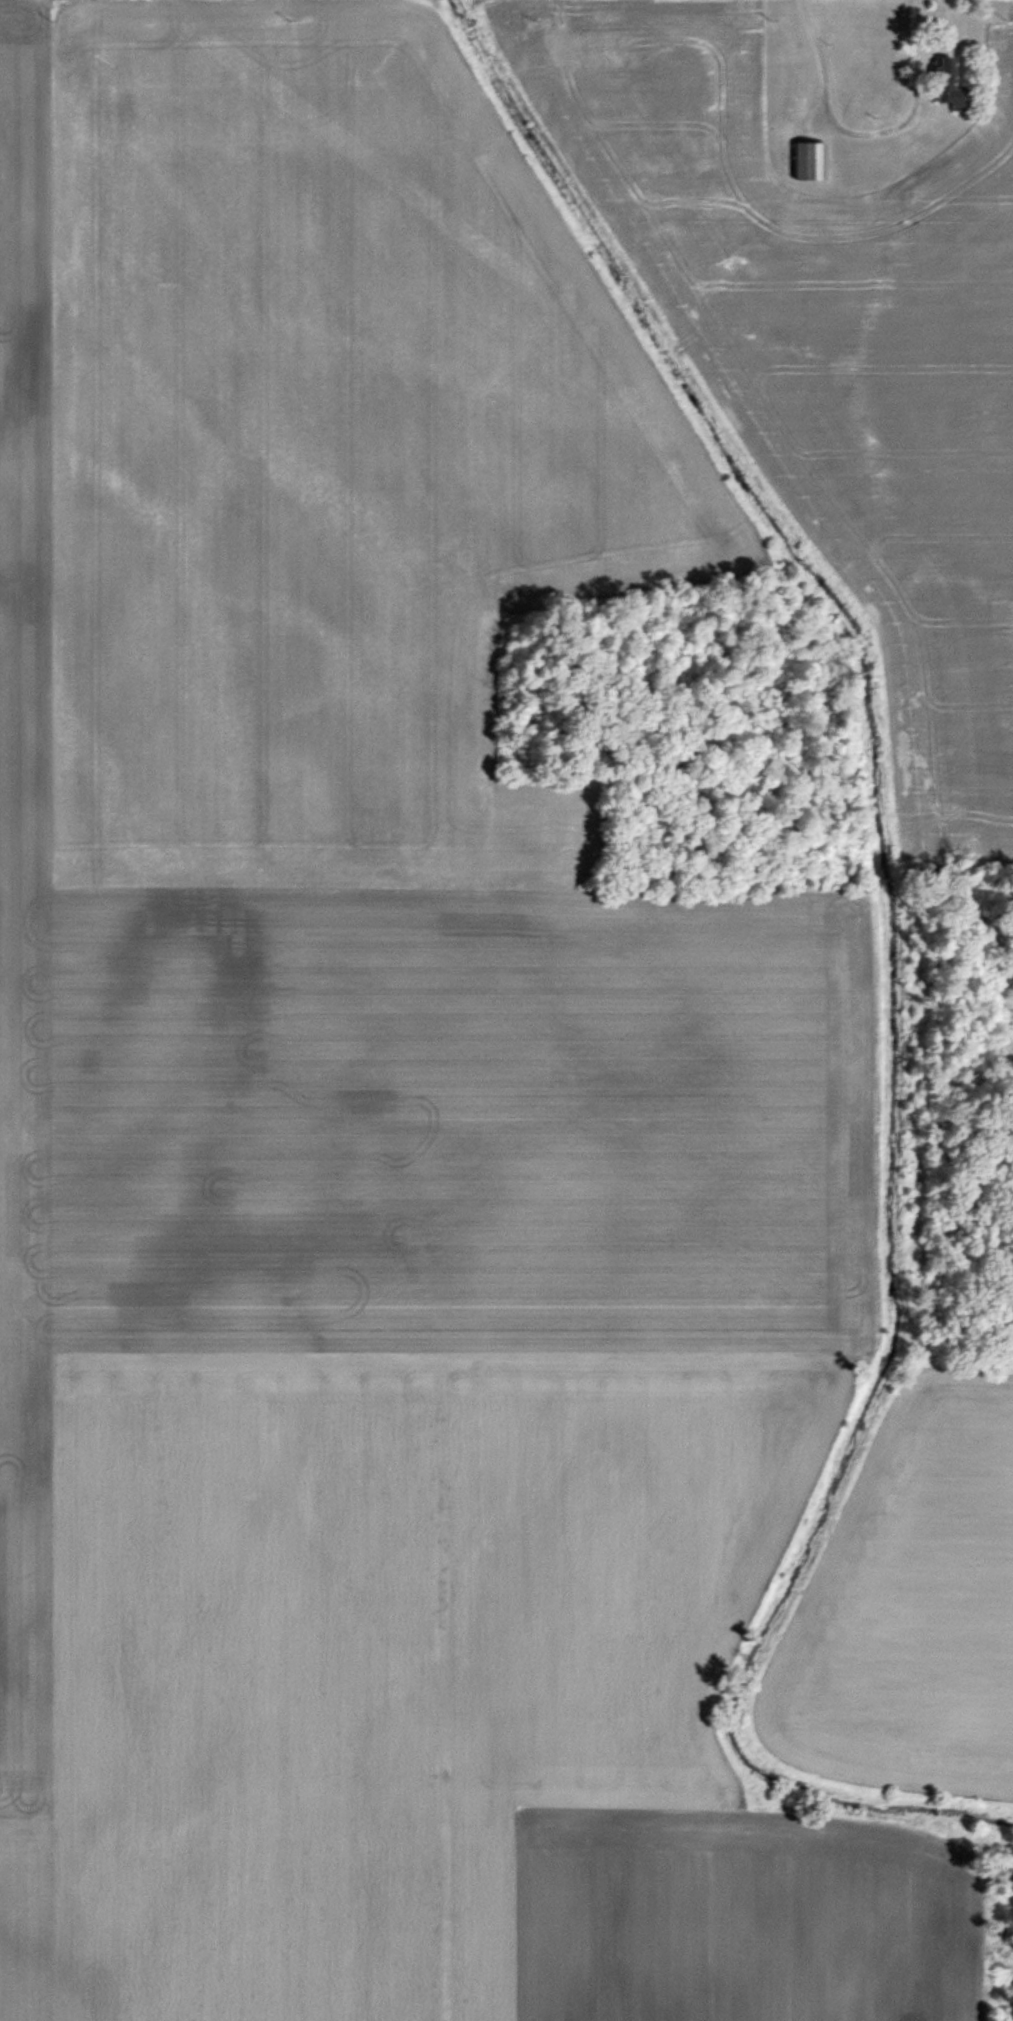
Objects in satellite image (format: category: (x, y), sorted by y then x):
building: (946, 85)
road: (861, 133)
building: (871, 149)
building: (807, 161)

